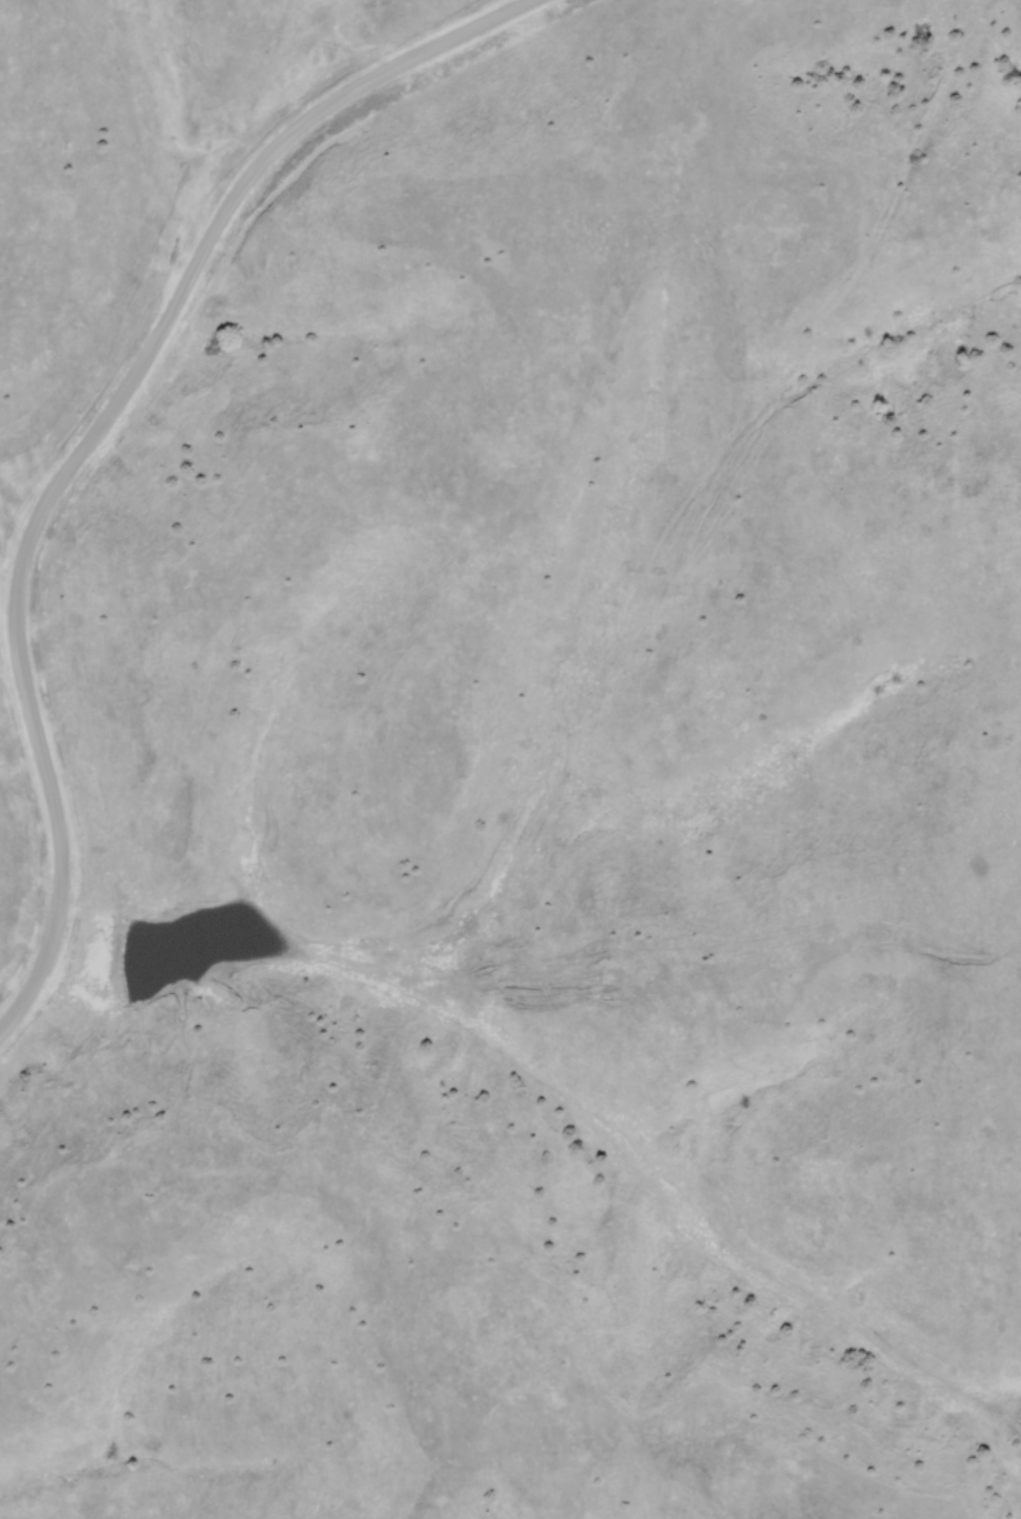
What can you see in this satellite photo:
road: (91, 438)

